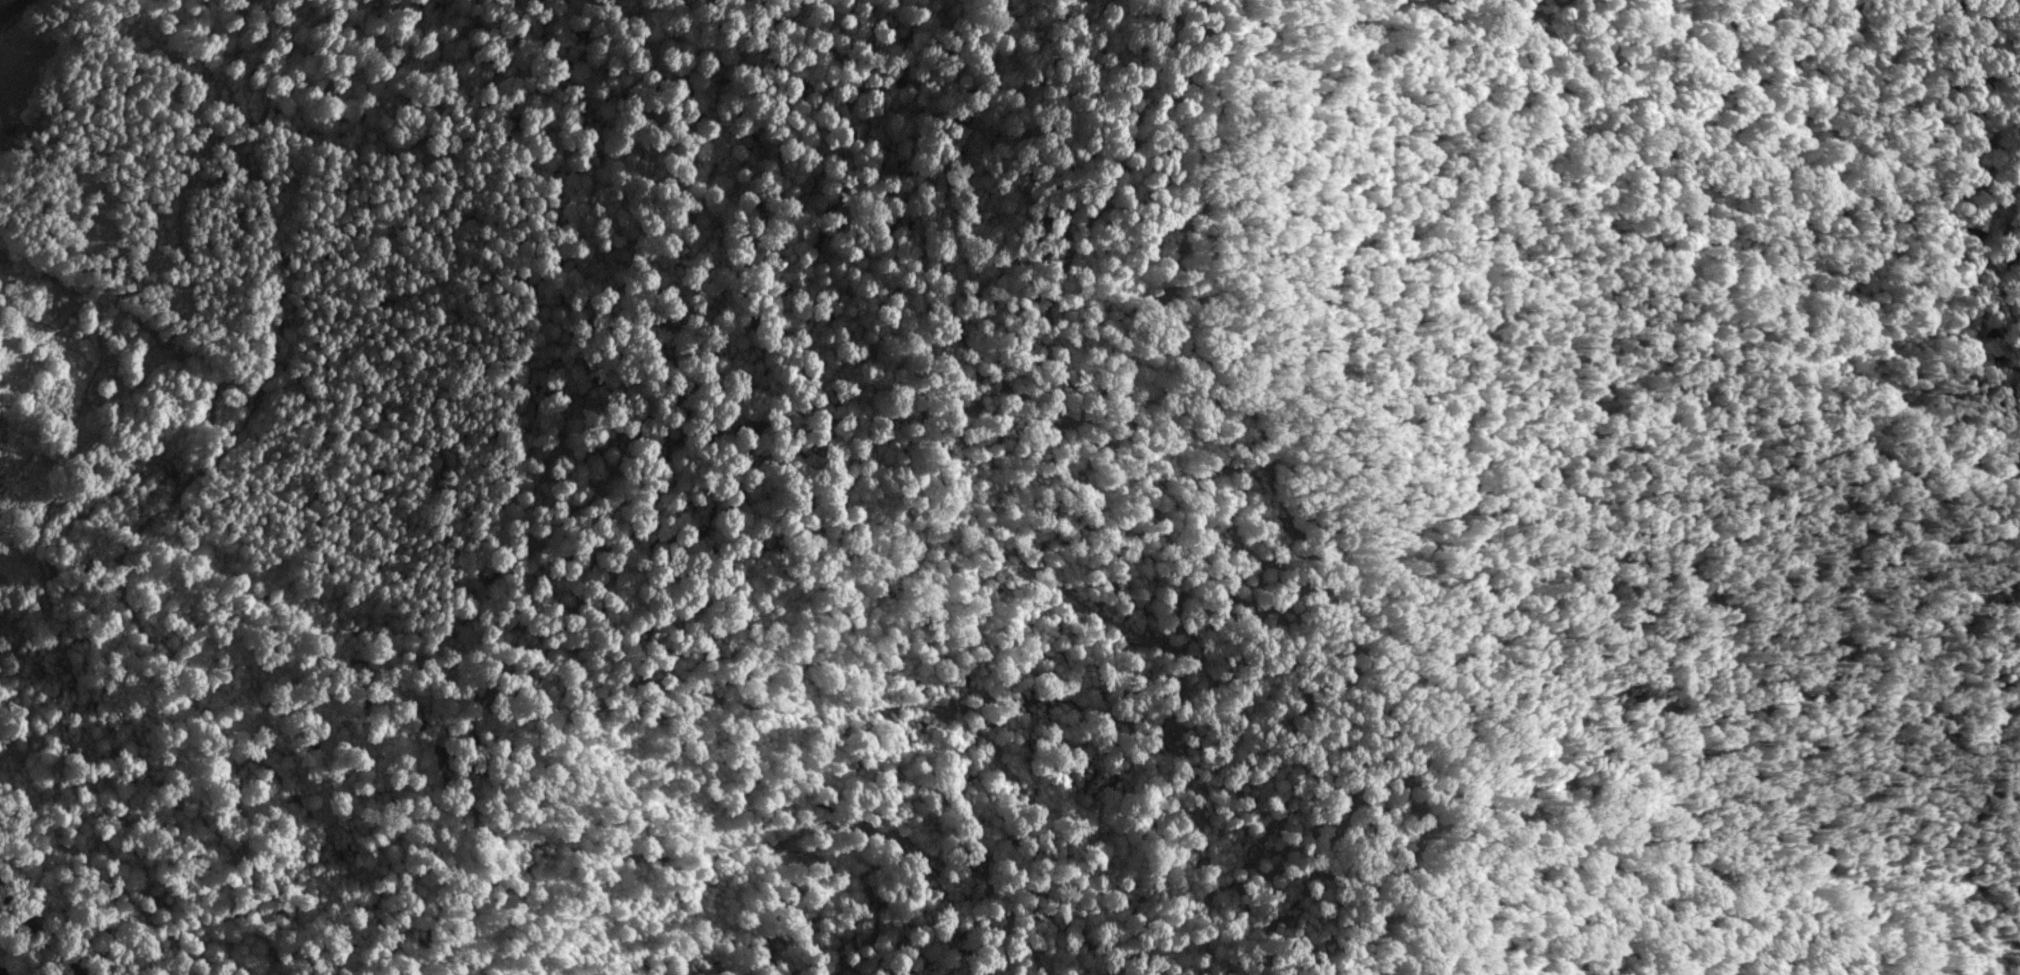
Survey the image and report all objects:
road: (6, 7)
road: (55, 919)

